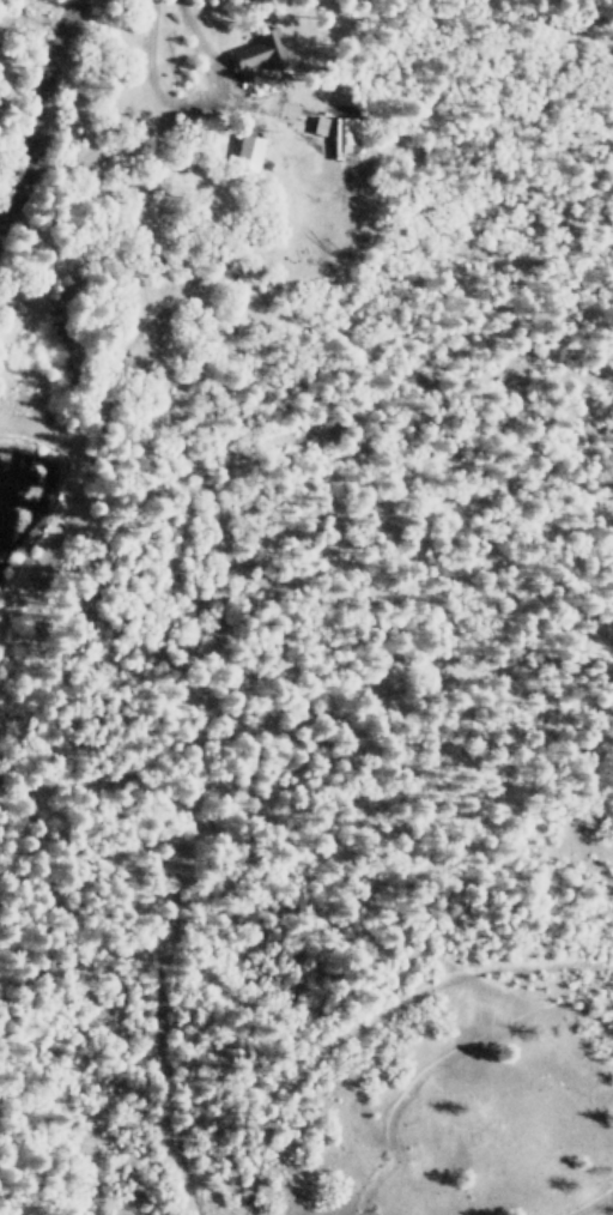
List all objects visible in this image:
building: (260, 50)
road: (49, 86)
building: (344, 134)
building: (248, 150)

